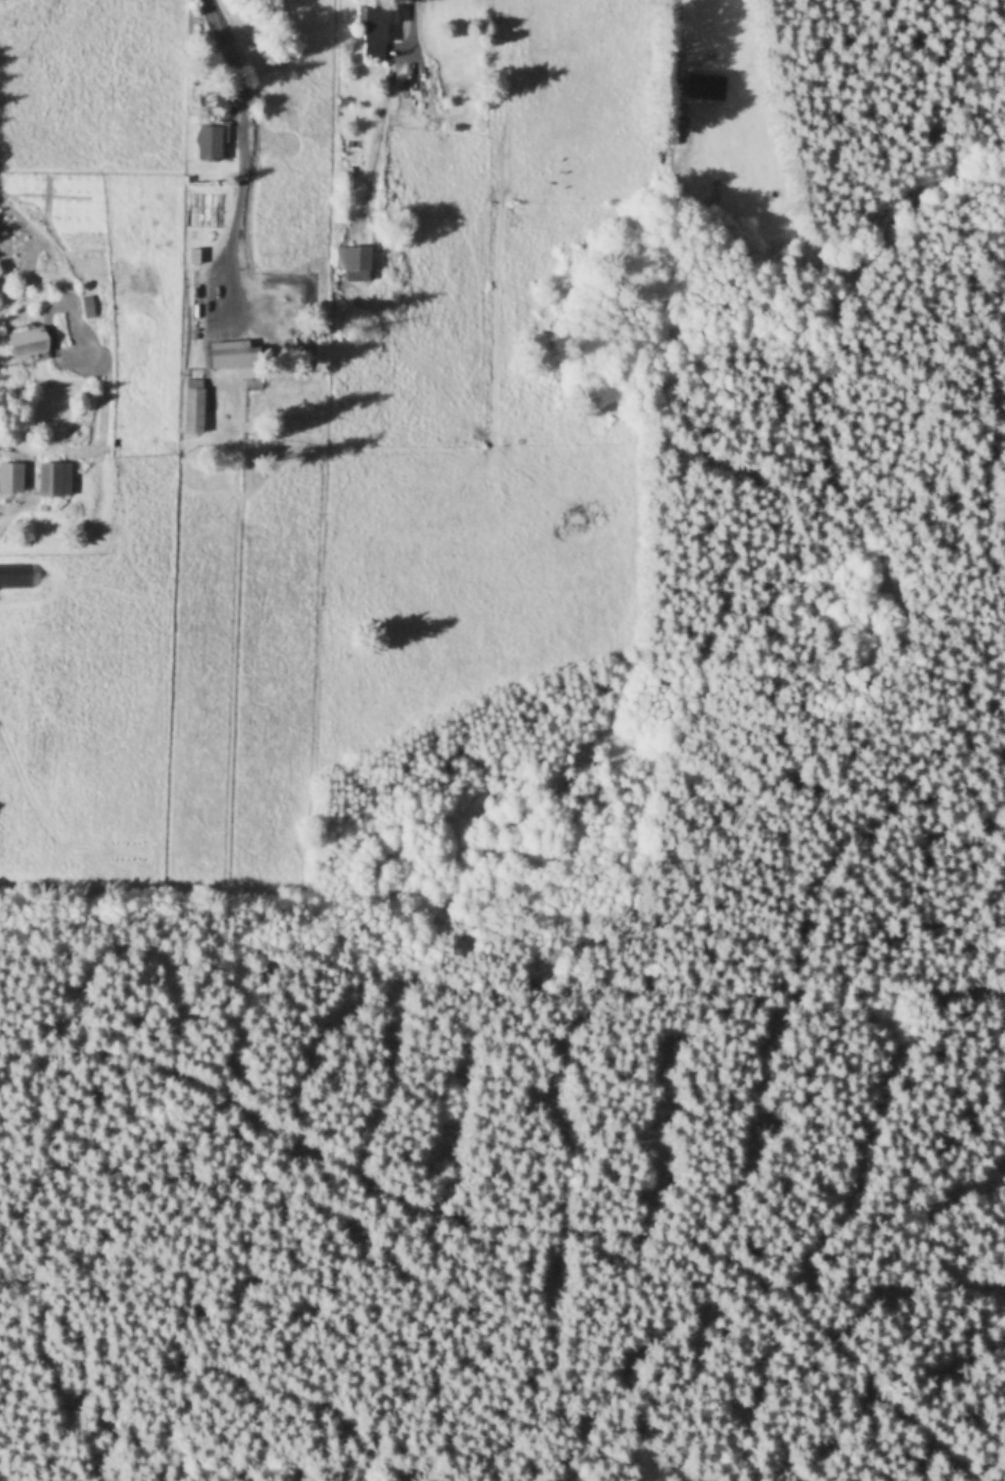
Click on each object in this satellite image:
building: (374, 32)
building: (706, 86)
building: (209, 144)
building: (357, 264)
building: (88, 308)
building: (28, 343)
building: (236, 358)
building: (193, 408)
building: (11, 479)
building: (54, 481)
road: (449, 1204)

